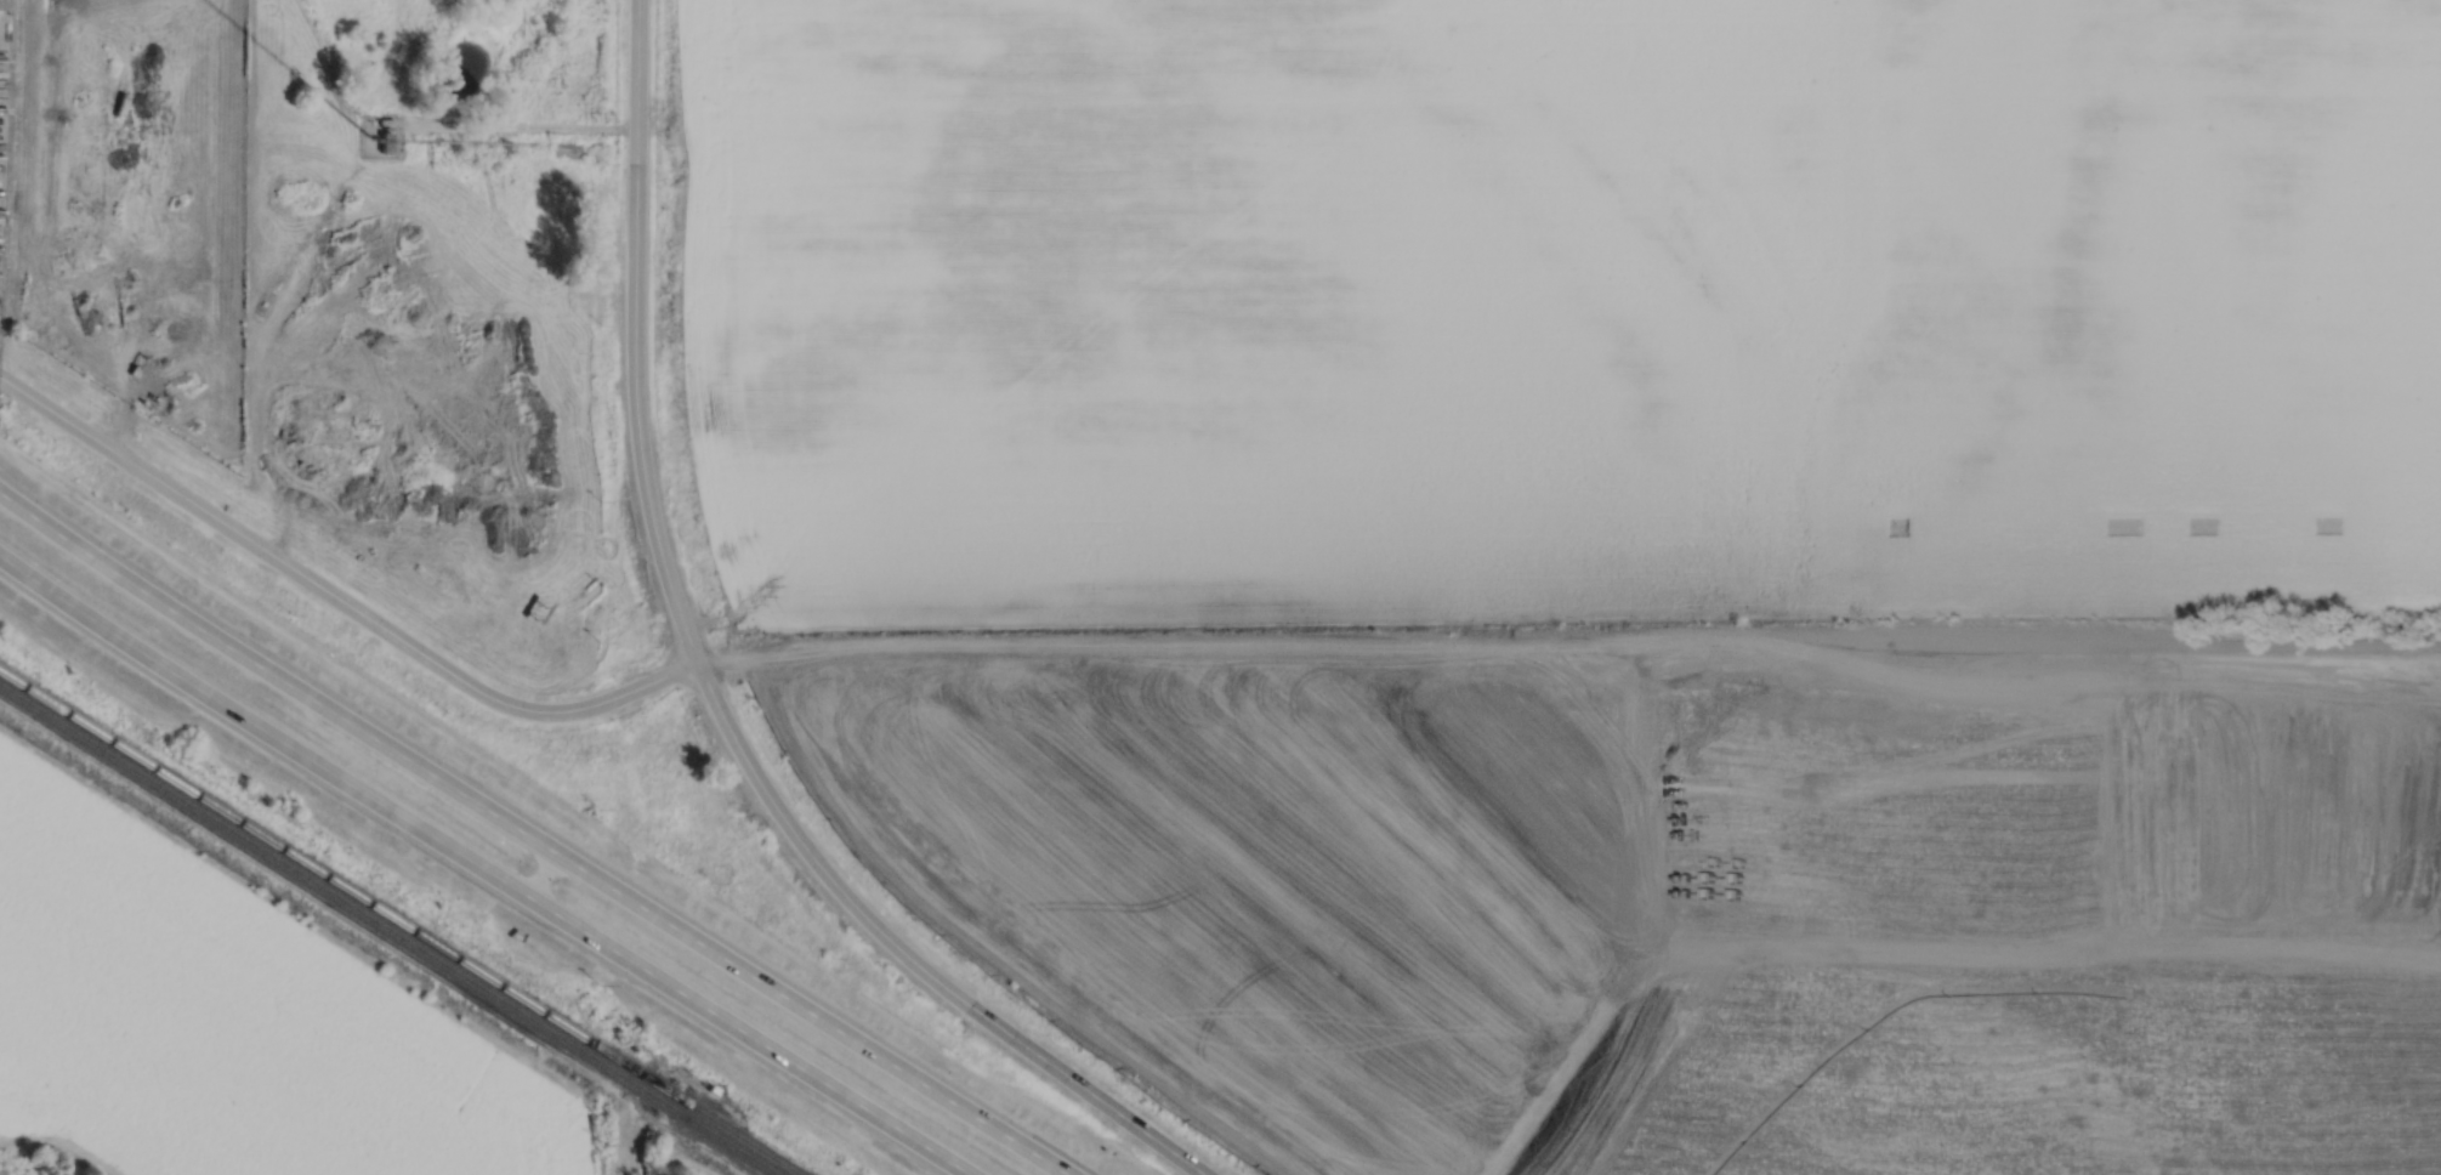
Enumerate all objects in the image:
building: (2, 6)
road: (517, 129)
building: (385, 142)
building: (175, 323)
building: (183, 330)
road: (634, 334)
building: (539, 608)
road: (665, 675)
road: (532, 838)
road: (483, 868)
railway: (398, 923)
railway: (388, 931)

